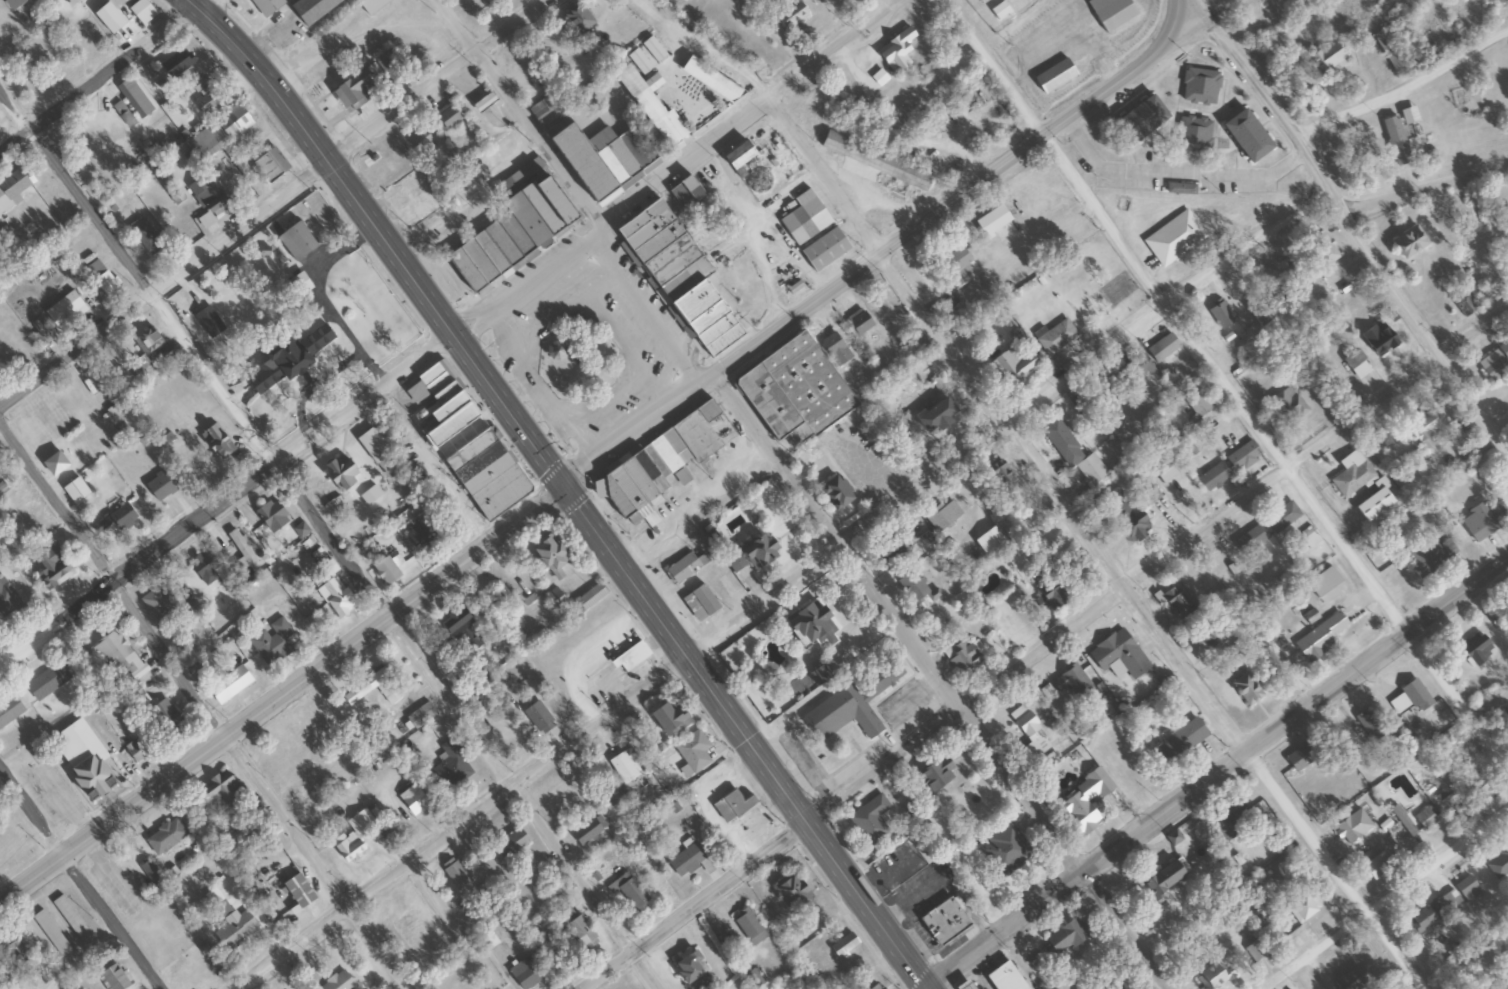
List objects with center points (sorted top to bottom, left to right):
building: (835, 0)
building: (70, 2)
park: (1210, 2)
building: (10, 3)
building: (265, 5)
building: (371, 5)
building: (475, 5)
building: (309, 9)
building: (998, 10)
building: (142, 11)
building: (1110, 12)
building: (787, 13)
building: (577, 18)
road: (1174, 21)
road: (1203, 23)
building: (651, 48)
building: (1388, 52)
building: (893, 54)
building: (1327, 57)
building: (637, 60)
building: (176, 62)
building: (388, 63)
building: (1053, 75)
road: (108, 78)
building: (709, 80)
road: (1401, 84)
building: (1199, 86)
building: (355, 89)
building: (203, 95)
building: (135, 97)
building: (482, 101)
building: (645, 106)
road: (518, 114)
building: (447, 116)
road: (752, 119)
building: (1139, 119)
building: (223, 132)
building: (1192, 134)
building: (1245, 135)
building: (418, 139)
building: (1395, 140)
railway: (1067, 144)
building: (735, 155)
building: (598, 159)
building: (875, 163)
building: (269, 164)
building: (159, 172)
road: (832, 174)
building: (13, 184)
building: (1180, 188)
building: (683, 192)
road: (270, 202)
building: (209, 204)
building: (536, 207)
road: (934, 212)
building: (804, 218)
building: (638, 221)
road: (1352, 227)
building: (1507, 230)
building: (146, 237)
building: (1174, 238)
building: (295, 241)
building: (1407, 242)
building: (1322, 248)
building: (824, 249)
building: (955, 265)
building: (1287, 270)
building: (106, 283)
building: (1465, 306)
building: (68, 313)
road: (1154, 313)
building: (1220, 313)
building: (1260, 315)
building: (208, 321)
building: (857, 322)
building: (1056, 336)
building: (41, 337)
building: (1378, 338)
building: (148, 340)
building: (1162, 347)
building: (834, 348)
building: (286, 357)
park: (579, 361)
building: (1495, 362)
building: (1357, 363)
building: (1137, 367)
building: (140, 369)
building: (1011, 369)
road: (1227, 385)
building: (92, 389)
building: (790, 389)
building: (1197, 401)
building: (1288, 405)
building: (933, 417)
building: (448, 426)
building: (1425, 426)
road: (297, 446)
building: (1068, 448)
building: (1242, 456)
building: (384, 462)
building: (655, 467)
building: (1163, 470)
building: (997, 472)
building: (1351, 474)
building: (342, 475)
building: (1212, 476)
building: (159, 486)
road: (569, 488)
building: (74, 490)
building: (832, 493)
building: (1371, 504)
road: (1233, 505)
building: (944, 512)
building: (270, 515)
building: (1281, 517)
building: (1483, 518)
building: (115, 521)
building: (1127, 521)
building: (417, 535)
building: (1309, 537)
building: (1250, 538)
road: (325, 542)
building: (241, 548)
building: (893, 551)
building: (749, 553)
building: (1430, 555)
building: (547, 556)
building: (684, 566)
building: (51, 567)
building: (202, 569)
building: (385, 569)
building: (500, 595)
building: (1047, 595)
building: (334, 596)
building: (557, 598)
building: (1177, 600)
building: (157, 603)
building: (698, 603)
road: (883, 607)
road: (1152, 620)
building: (809, 625)
building: (462, 627)
building: (1320, 636)
building: (271, 641)
road: (352, 643)
building: (1475, 649)
building: (114, 652)
building: (1117, 654)
building: (960, 655)
building: (630, 657)
building: (818, 674)
building: (1071, 681)
building: (46, 682)
building: (229, 684)
building: (1244, 689)
building: (391, 693)
building: (1415, 694)
building: (139, 698)
building: (848, 706)
road: (203, 707)
building: (9, 710)
road: (1293, 713)
building: (421, 716)
building: (538, 717)
building: (164, 718)
building: (668, 719)
building: (1370, 724)
building: (1028, 731)
building: (508, 736)
building: (1178, 741)
building: (135, 751)
building: (692, 751)
building: (81, 758)
building: (1299, 758)
building: (623, 767)
building: (449, 768)
road: (537, 768)
building: (929, 779)
building: (574, 788)
building: (219, 792)
building: (412, 800)
building: (1083, 801)
building: (731, 806)
building: (1424, 819)
building: (869, 820)
building: (1230, 821)
building: (1402, 821)
building: (1349, 825)
building: (587, 830)
building: (165, 837)
building: (353, 837)
building: (509, 844)
road: (771, 850)
building: (1004, 851)
building: (685, 860)
building: (1498, 864)
road: (1439, 865)
building: (1376, 866)
building: (149, 872)
building: (454, 873)
building: (1161, 879)
road: (81, 881)
building: (1465, 888)
building: (297, 891)
building: (629, 891)
building: (790, 893)
building: (1303, 907)
building: (1433, 911)
building: (70, 918)
building: (943, 921)
building: (750, 926)
building: (576, 927)
road: (1003, 930)
building: (234, 931)
building: (50, 933)
building: (1064, 937)
building: (842, 945)
building: (9, 951)
building: (1253, 951)
road: (1317, 952)
building: (690, 971)
building: (525, 973)
building: (1213, 974)
building: (114, 977)
building: (1003, 978)
building: (1351, 978)
building: (751, 979)
building: (337, 982)
building: (962, 985)
building: (875, 987)
building: (1121, 987)
building: (281, 988)

